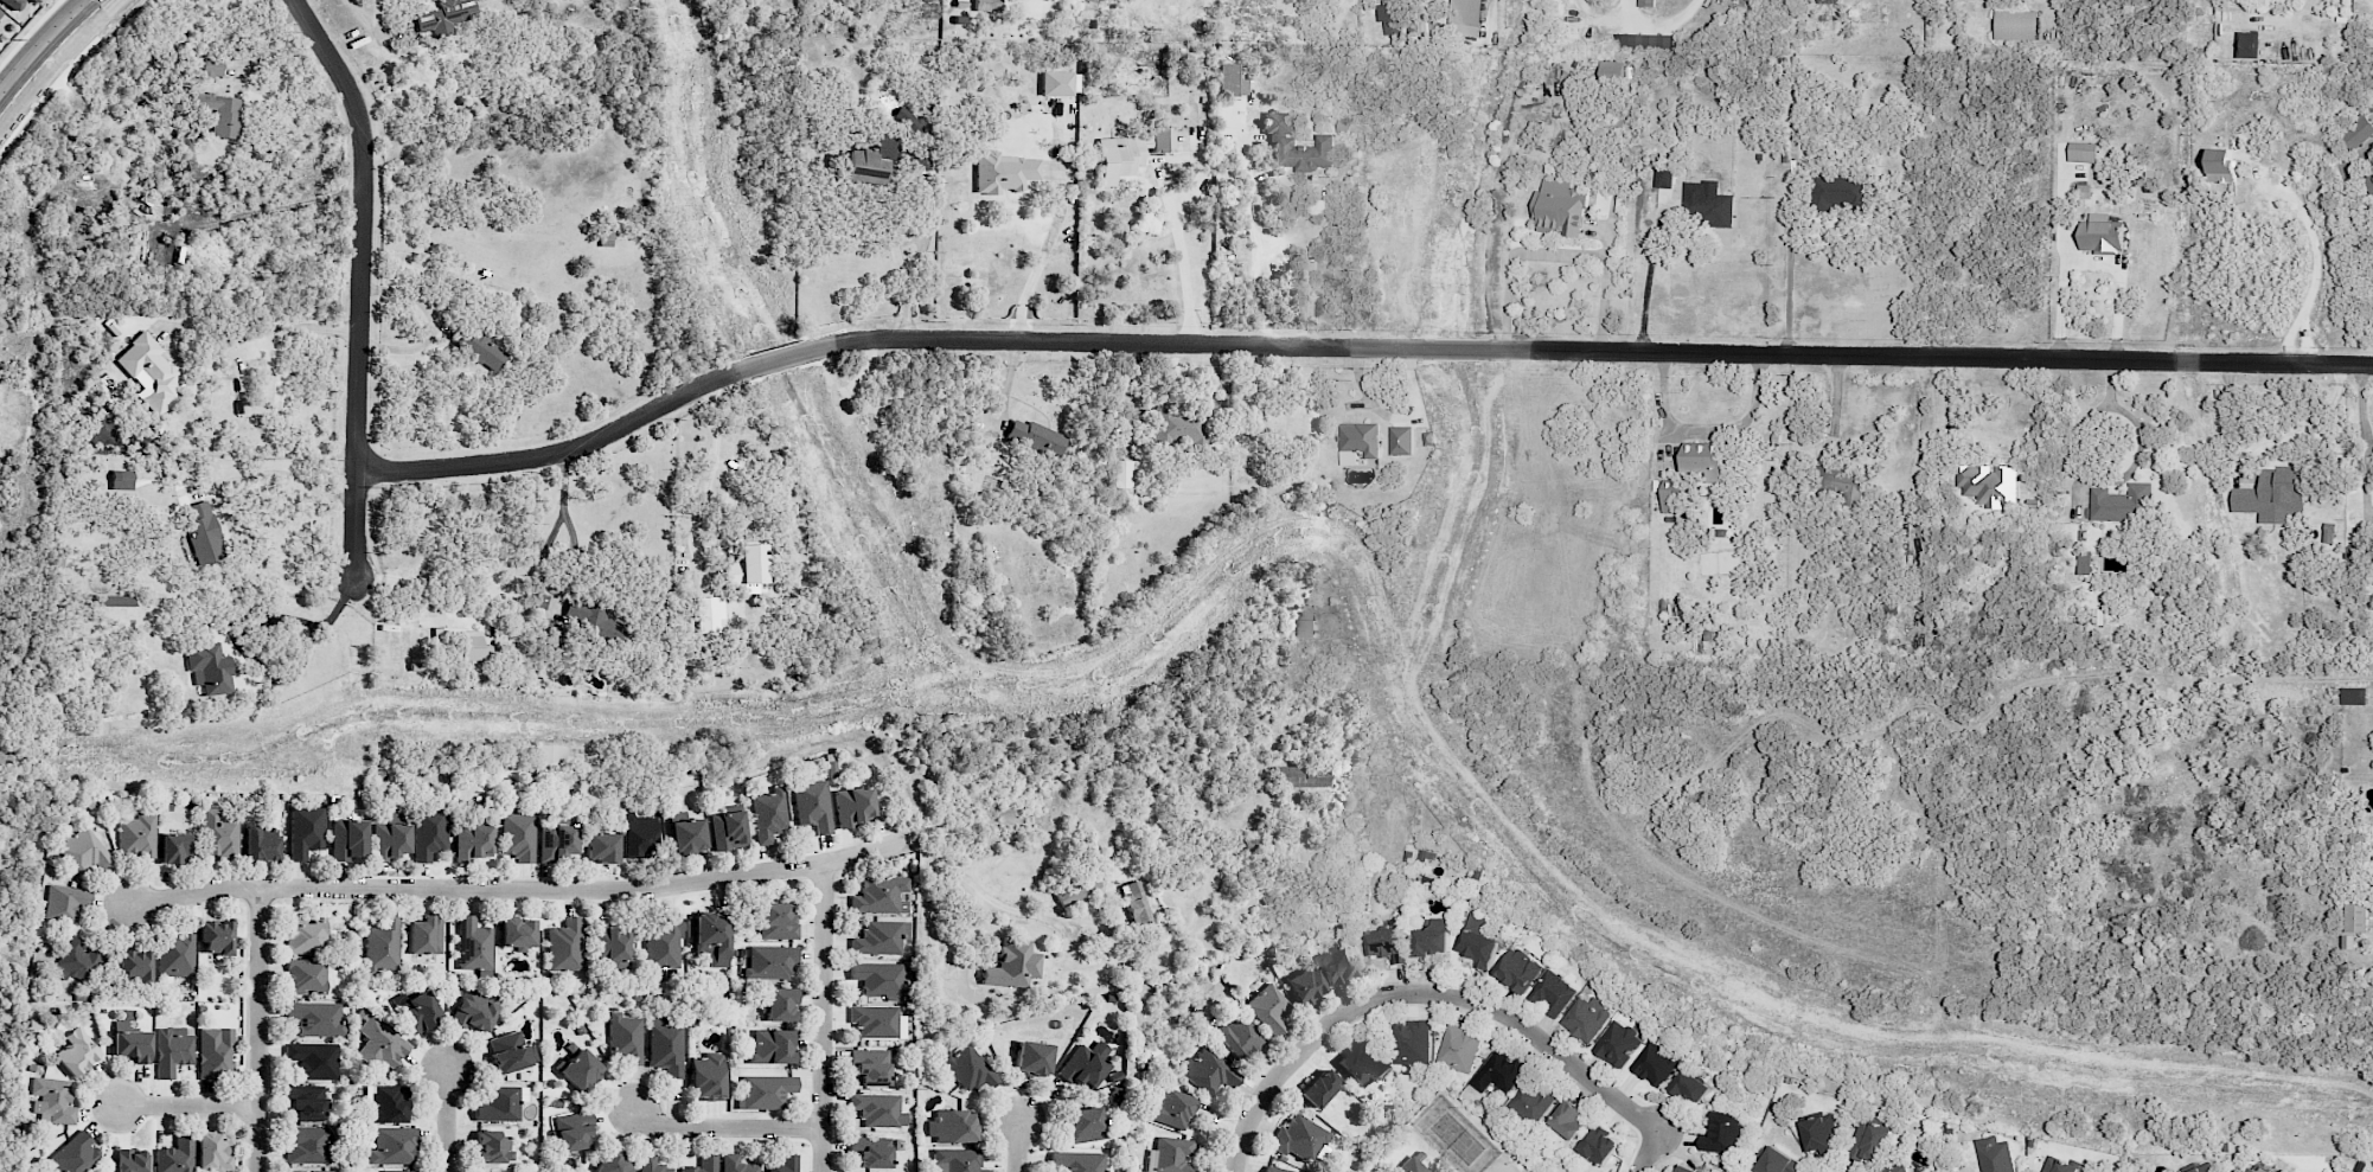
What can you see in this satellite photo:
building: (13, 2)
building: (1646, 2)
building: (986, 5)
building: (0, 13)
building: (1466, 14)
building: (444, 17)
road: (377, 18)
building: (1390, 19)
road: (1656, 25)
building: (2016, 25)
building: (1427, 26)
road: (270, 40)
building: (1643, 41)
building: (2247, 44)
road: (52, 58)
building: (212, 66)
building: (1611, 72)
building: (1230, 81)
building: (1056, 83)
building: (220, 113)
building: (909, 121)
building: (2358, 132)
building: (1162, 139)
building: (1281, 140)
building: (2081, 152)
building: (1119, 158)
building: (917, 159)
building: (869, 164)
building: (2221, 165)
building: (1005, 172)
road: (1280, 179)
building: (2368, 184)
building: (1840, 191)
building: (1561, 207)
building: (1710, 209)
building: (2100, 233)
road: (1283, 242)
road: (1510, 255)
road: (1182, 256)
road: (897, 261)
road: (1040, 262)
road: (360, 276)
road: (1646, 280)
road: (1787, 286)
road: (1605, 289)
road: (294, 327)
road: (1354, 348)
building: (485, 351)
building: (149, 373)
road: (1004, 409)
road: (1937, 421)
building: (1181, 427)
building: (1036, 438)
building: (1401, 440)
building: (1357, 442)
building: (1704, 459)
road: (709, 470)
road: (2123, 472)
building: (1122, 474)
building: (121, 480)
building: (1844, 485)
building: (1988, 485)
building: (1672, 494)
building: (2273, 497)
building: (2121, 502)
road: (223, 508)
building: (203, 532)
building: (2327, 532)
road: (539, 563)
building: (2084, 563)
building: (748, 568)
building: (115, 601)
building: (541, 602)
building: (2097, 616)
building: (594, 620)
building: (1306, 623)
road: (243, 630)
building: (551, 634)
building: (472, 646)
building: (209, 668)
road: (2364, 678)
building: (2354, 696)
building: (1300, 776)
building: (812, 805)
building: (853, 806)
building: (768, 815)
building: (728, 828)
building: (429, 831)
building: (306, 832)
building: (218, 833)
building: (517, 833)
building: (137, 835)
building: (638, 835)
building: (686, 837)
building: (348, 839)
building: (390, 840)
building: (473, 841)
building: (261, 843)
building: (556, 843)
building: (601, 847)
building: (175, 848)
building: (84, 851)
road: (523, 890)
building: (880, 895)
building: (65, 902)
building: (1136, 904)
road: (1045, 916)
building: (2355, 917)
building: (776, 922)
road: (929, 927)
building: (517, 933)
building: (424, 935)
building: (216, 936)
building: (306, 936)
building: (711, 936)
building: (880, 937)
building: (1432, 937)
building: (1477, 940)
building: (1387, 943)
park: (4, 944)
building: (473, 944)
building: (382, 946)
building: (564, 946)
building: (663, 946)
building: (610, 947)
building: (175, 954)
building: (78, 961)
building: (772, 962)
building: (1336, 963)
building: (1012, 965)
building: (135, 966)
building: (1517, 969)
building: (306, 976)
building: (878, 979)
building: (1305, 986)
road: (1446, 992)
building: (1552, 993)
building: (781, 1005)
building: (1268, 1008)
building: (475, 1010)
building: (417, 1012)
road: (825, 1018)
building: (1586, 1018)
building: (315, 1019)
building: (875, 1020)
road: (260, 1031)
building: (1240, 1036)
building: (132, 1039)
building: (623, 1039)
building: (1411, 1043)
building: (1618, 1043)
building: (380, 1044)
building: (665, 1046)
building: (772, 1046)
building: (1458, 1049)
building: (173, 1050)
building: (76, 1052)
building: (215, 1052)
building: (510, 1052)
building: (1032, 1058)
building: (313, 1059)
building: (1362, 1063)
building: (1086, 1064)
building: (1655, 1064)
building: (870, 1068)
building: (968, 1068)
building: (580, 1070)
building: (1209, 1071)
building: (1499, 1071)
building: (706, 1076)
building: (1690, 1087)
building: (1319, 1088)
building: (765, 1091)
building: (52, 1100)
building: (1531, 1100)
building: (306, 1102)
building: (388, 1103)
building: (499, 1106)
road: (191, 1108)
building: (1171, 1108)
building: (878, 1109)
building: (1569, 1119)
road: (448, 1122)
building: (1085, 1125)
building: (952, 1126)
road: (725, 1128)
building: (573, 1132)
building: (1721, 1133)
building: (1819, 1134)
building: (1299, 1138)
building: (1869, 1141)
building: (308, 1145)
building: (1599, 1145)
building: (392, 1146)
road: (1019, 1146)
building: (492, 1147)
building: (213, 1151)
building: (870, 1151)
building: (177, 1154)
building: (1994, 1154)
building: (73, 1155)
building: (1170, 1155)
building: (130, 1160)
building: (957, 1160)
building: (1077, 1161)
building: (614, 1163)
building: (1779, 1163)
building: (652, 1164)
building: (736, 1164)
building: (783, 1165)
building: (2058, 1165)
building: (1411, 1166)
building: (2202, 1167)
building: (1275, 1168)
building: (1897, 1168)
building: (2253, 1168)
building: (1686, 1170)
building: (305, 1171)
building: (396, 1171)
building: (487, 1171)

